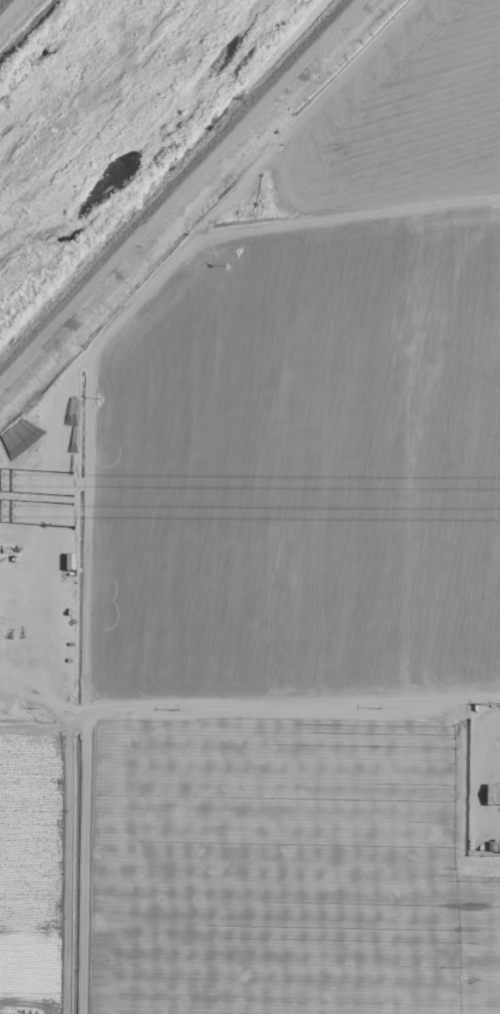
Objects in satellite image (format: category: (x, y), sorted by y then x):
river: (104, 114)
road: (179, 194)
power tower: (76, 485)
power tower: (76, 516)
crop: (274, 583)
road: (251, 713)
building: (492, 794)

